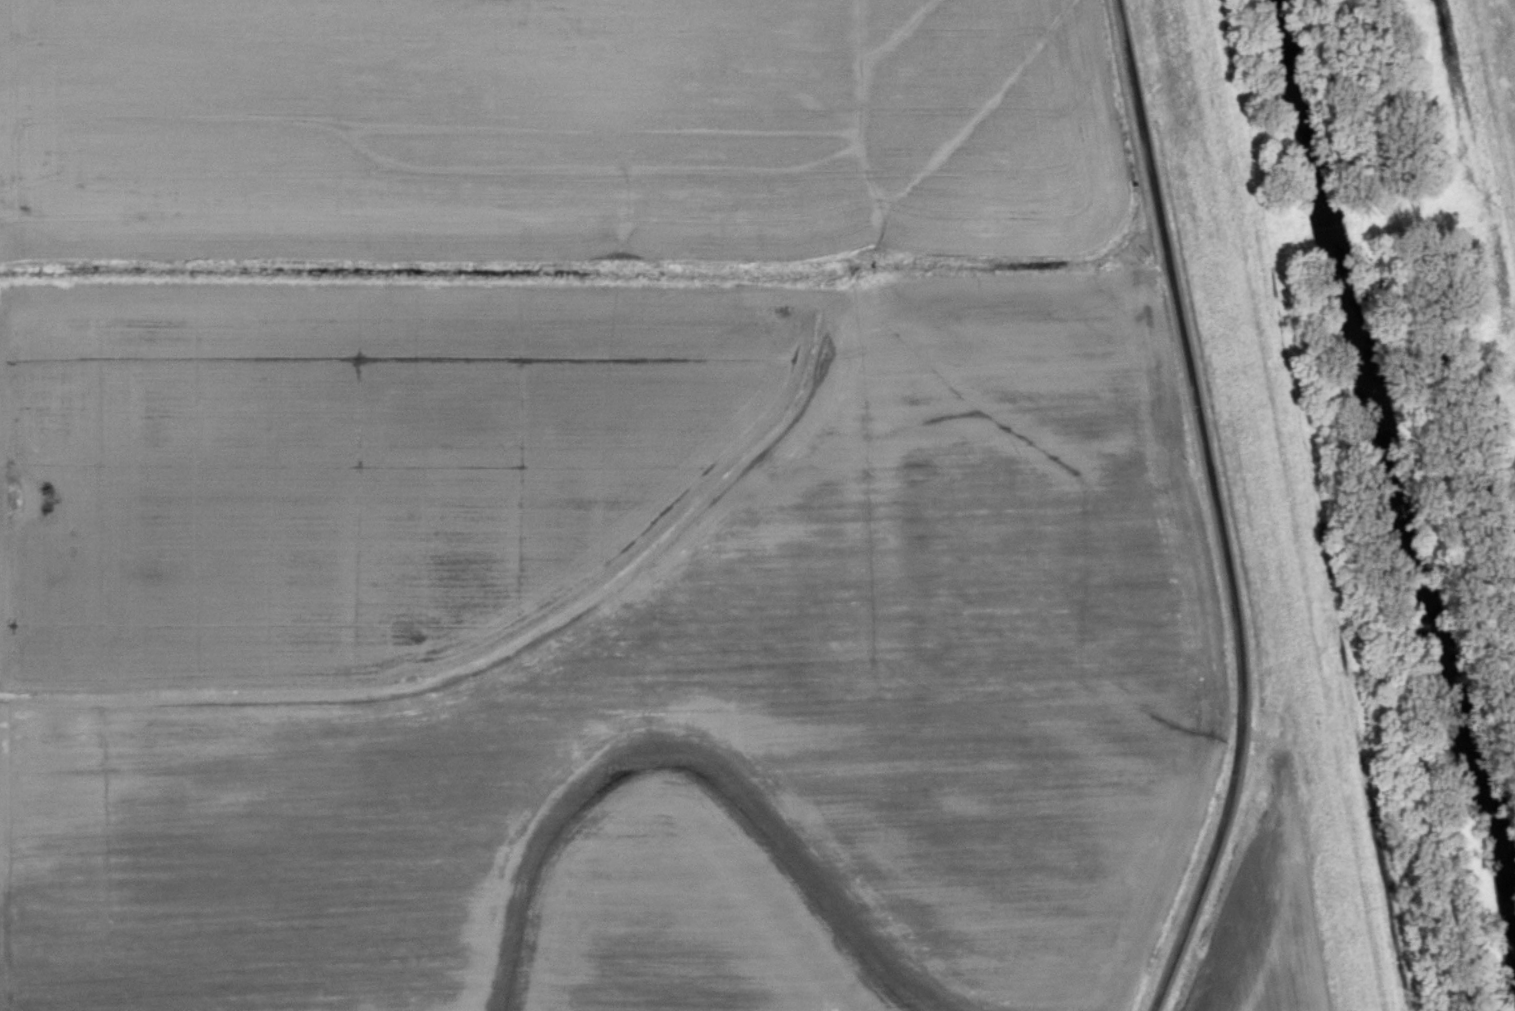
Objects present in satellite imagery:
road: (1166, 513)

